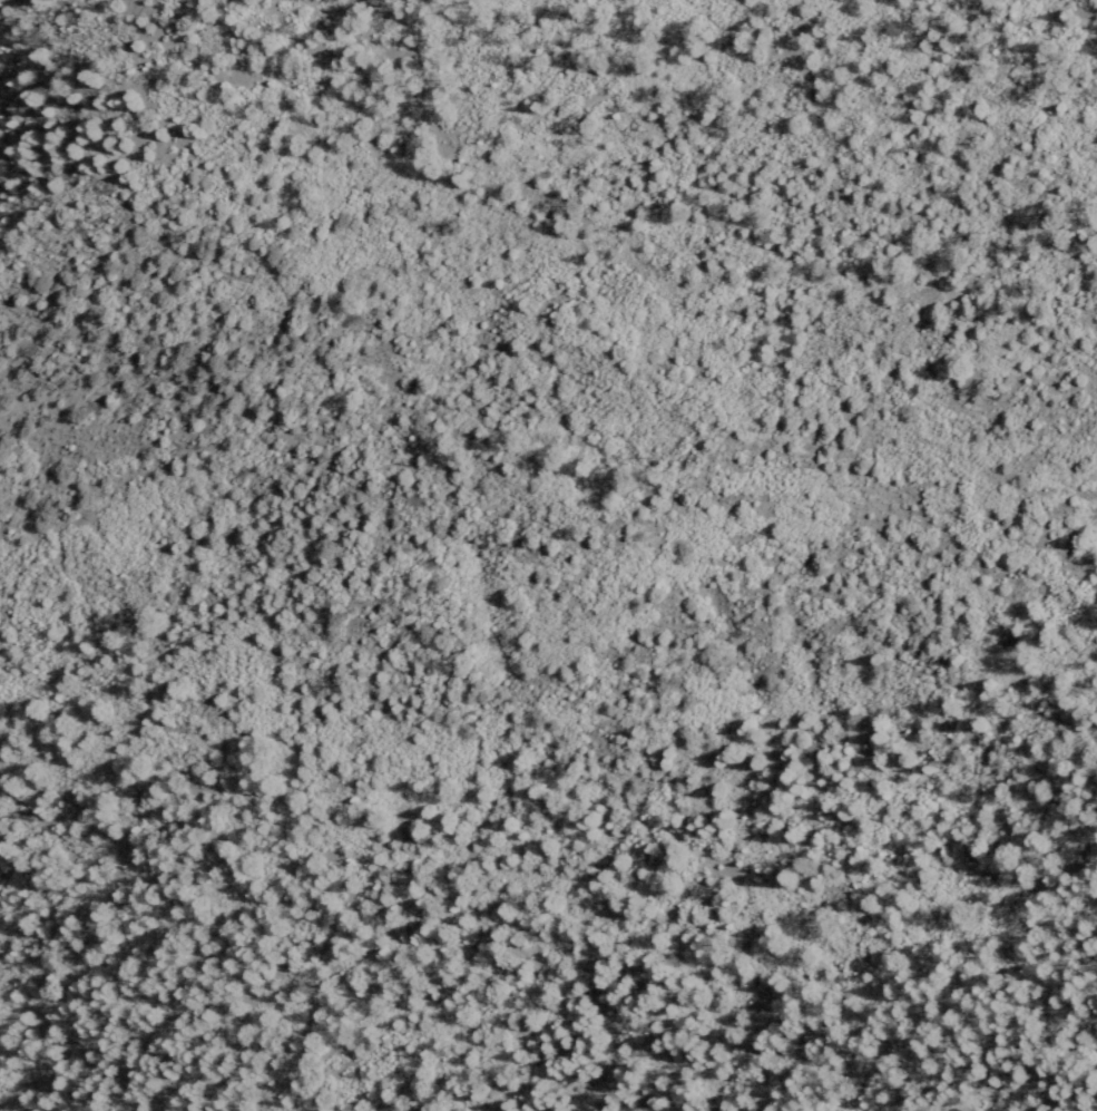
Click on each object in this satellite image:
road: (908, 1069)

